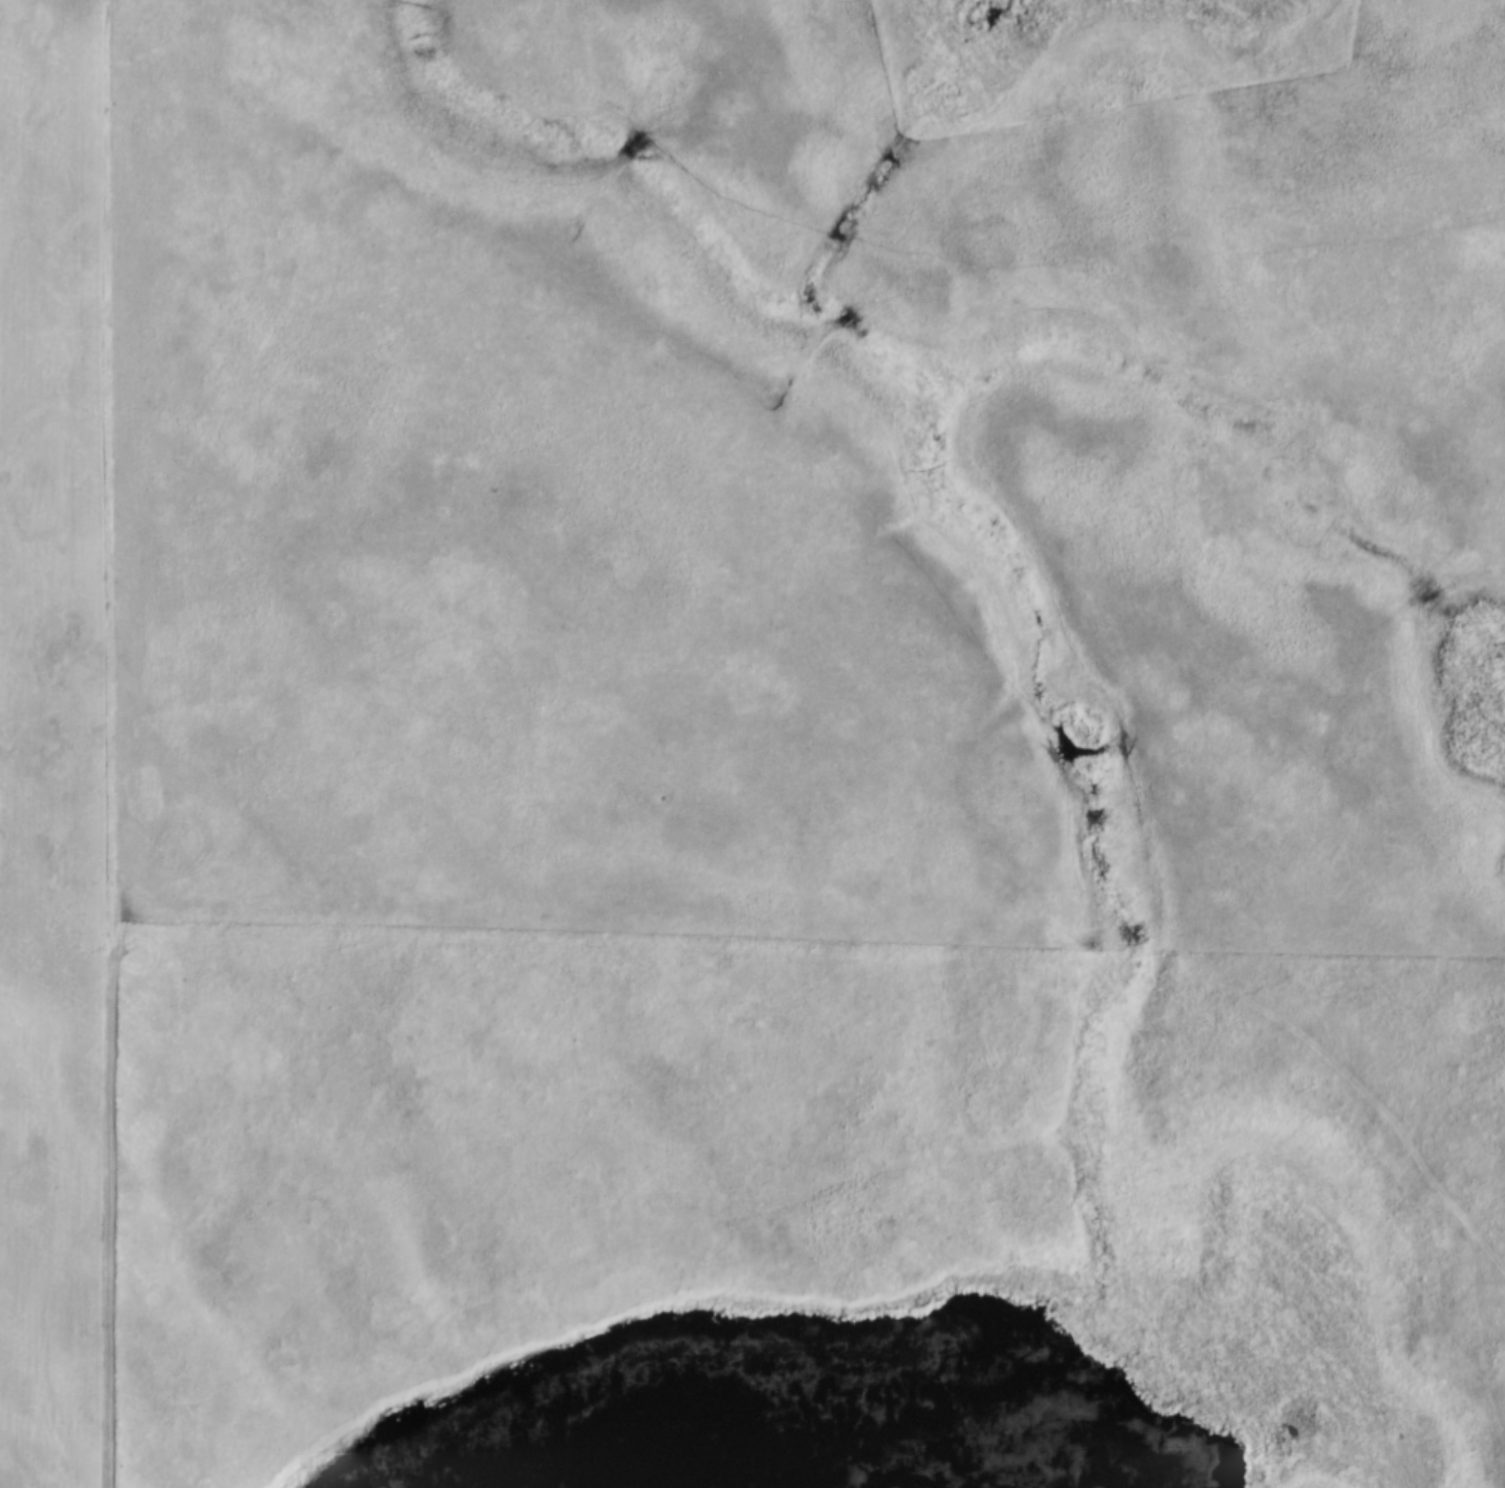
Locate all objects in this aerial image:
crop: (45, 739)

